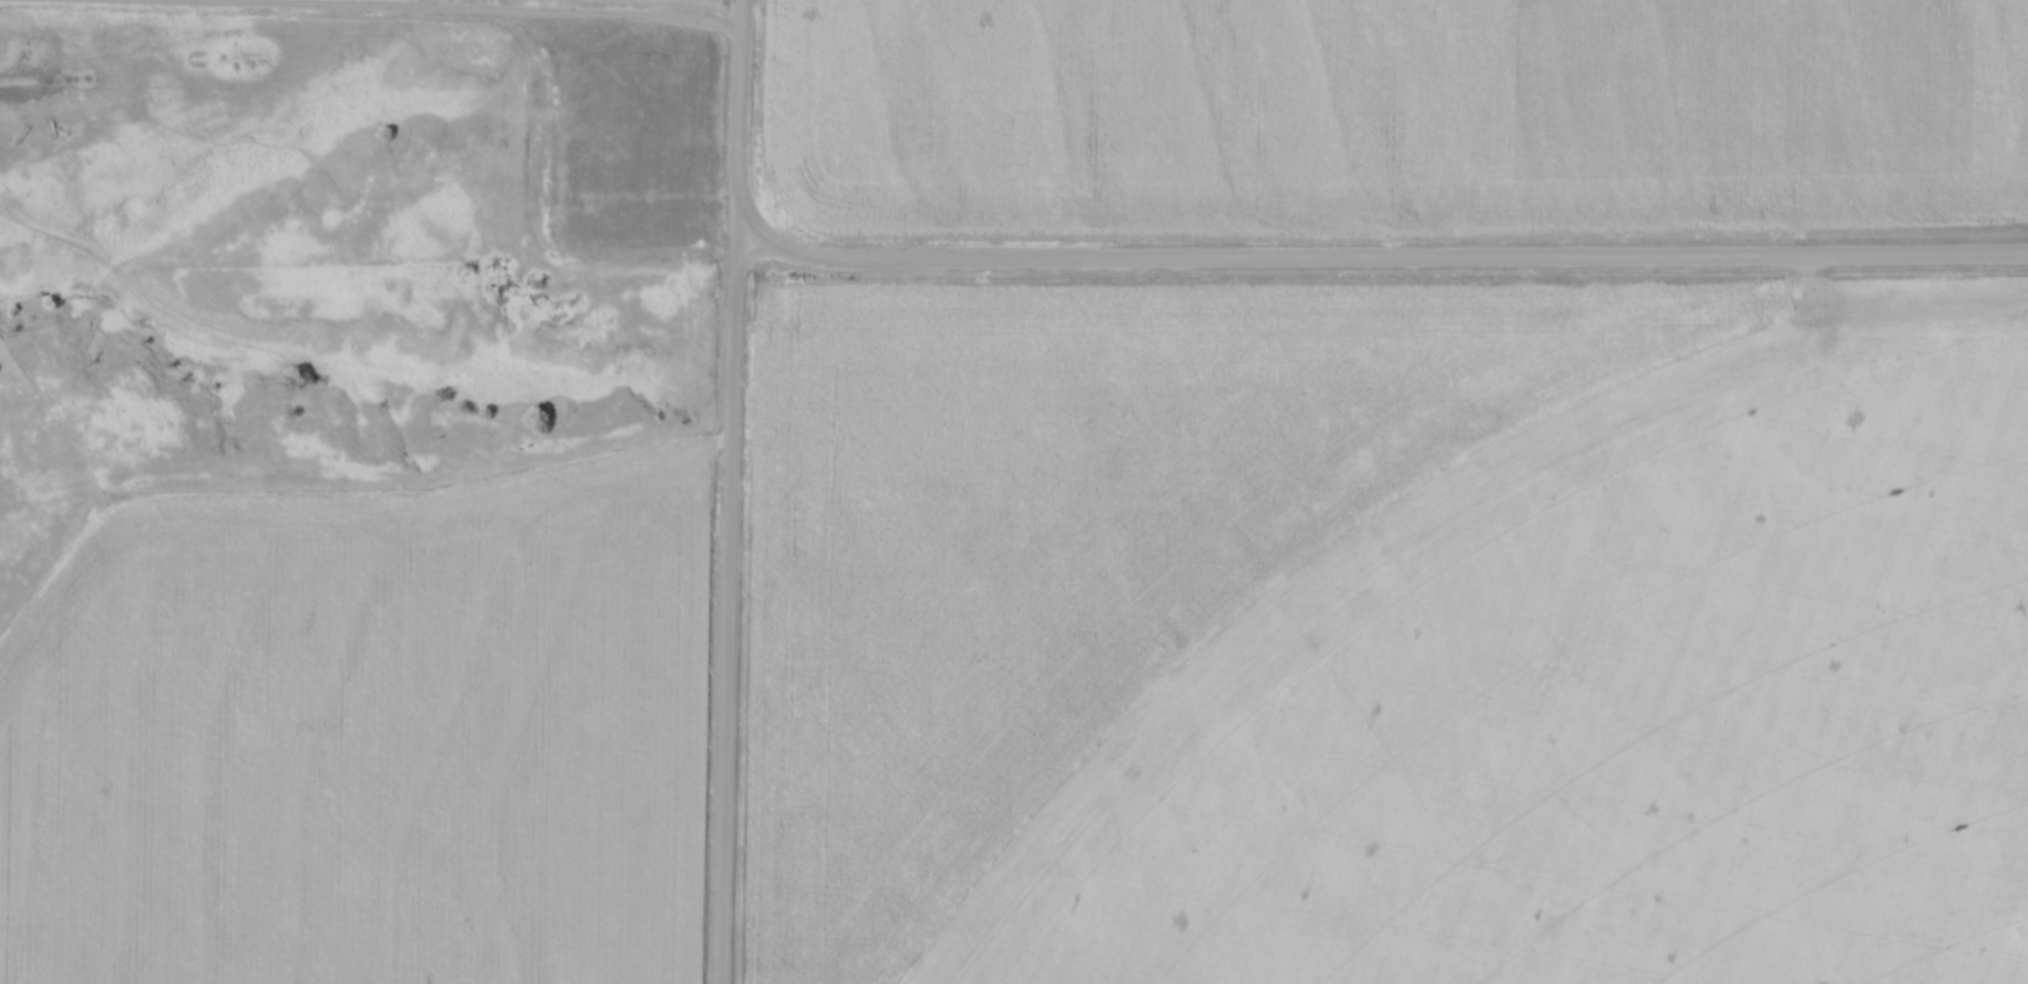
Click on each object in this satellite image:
crop: (1402, 105)
road: (742, 109)
road: (1376, 255)
road: (728, 601)
crop: (364, 735)

